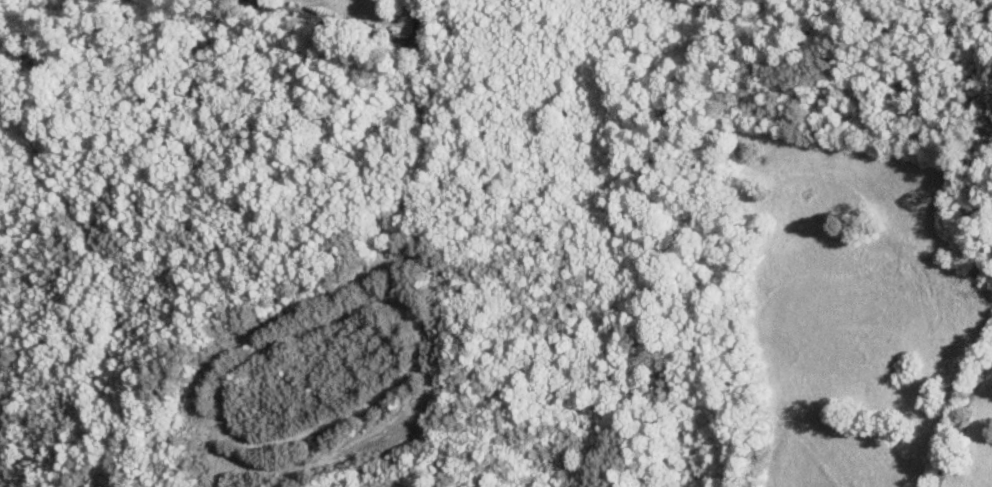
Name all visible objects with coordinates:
road: (331, 21)
road: (418, 23)
road: (962, 422)

